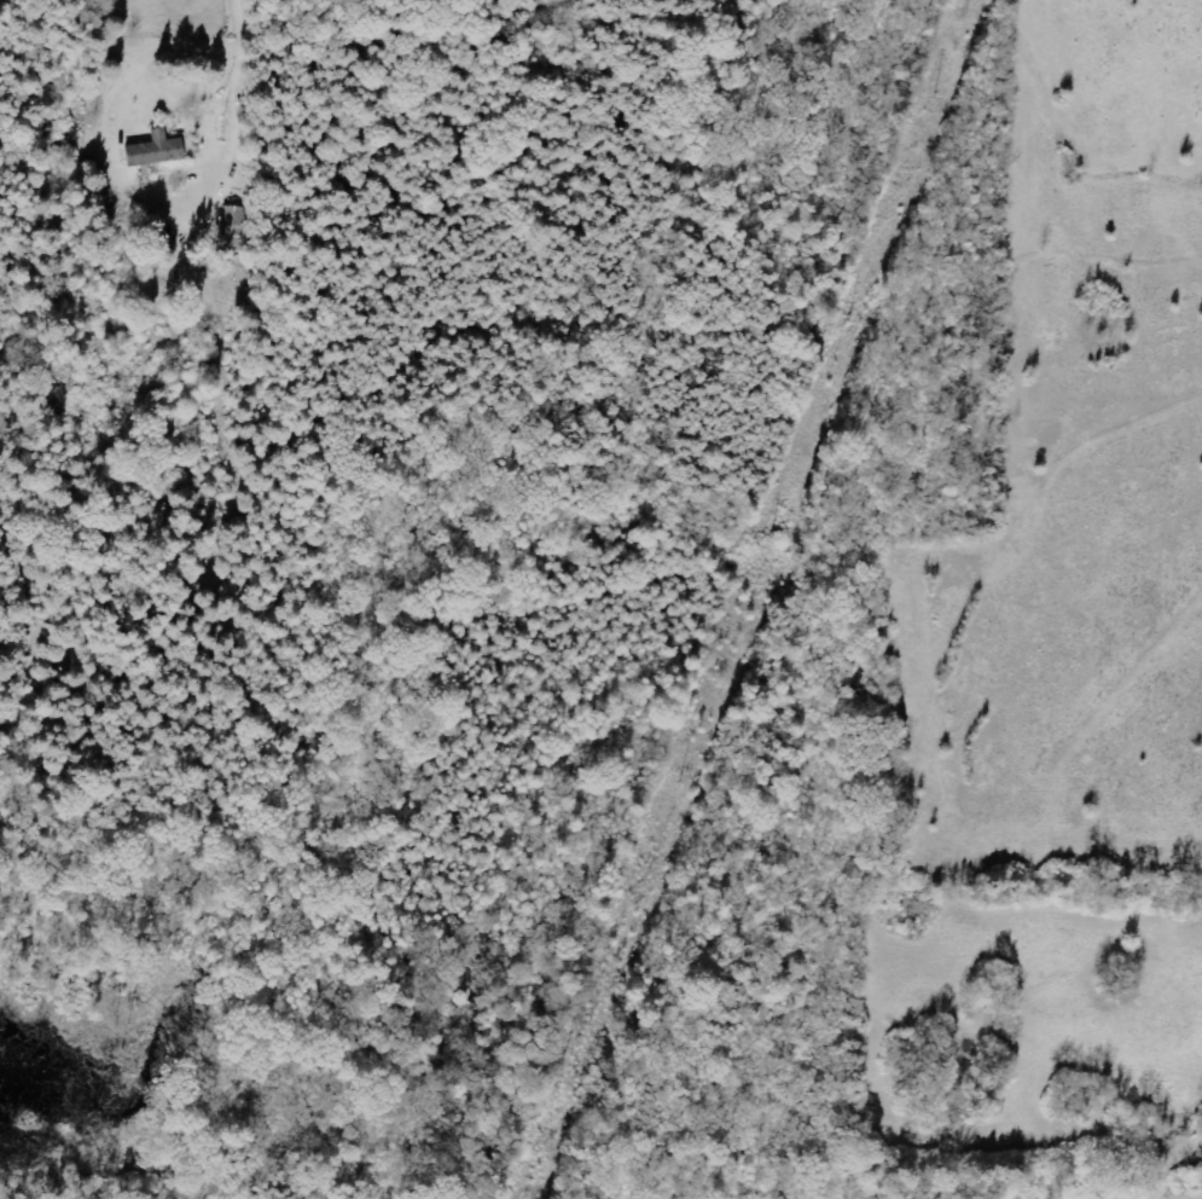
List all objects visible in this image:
building: (161, 151)
building: (234, 227)

